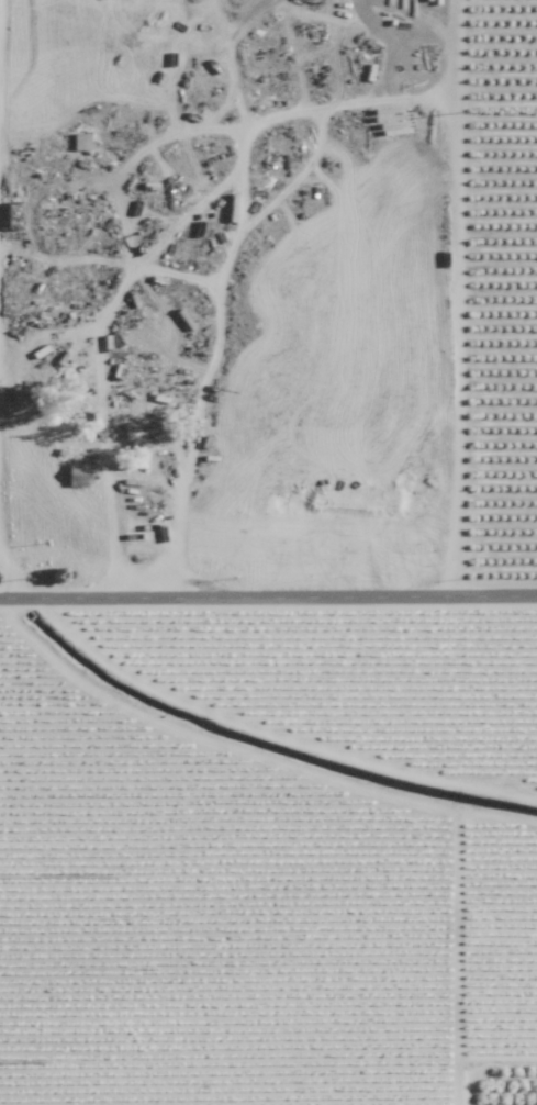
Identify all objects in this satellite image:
road: (268, 596)

